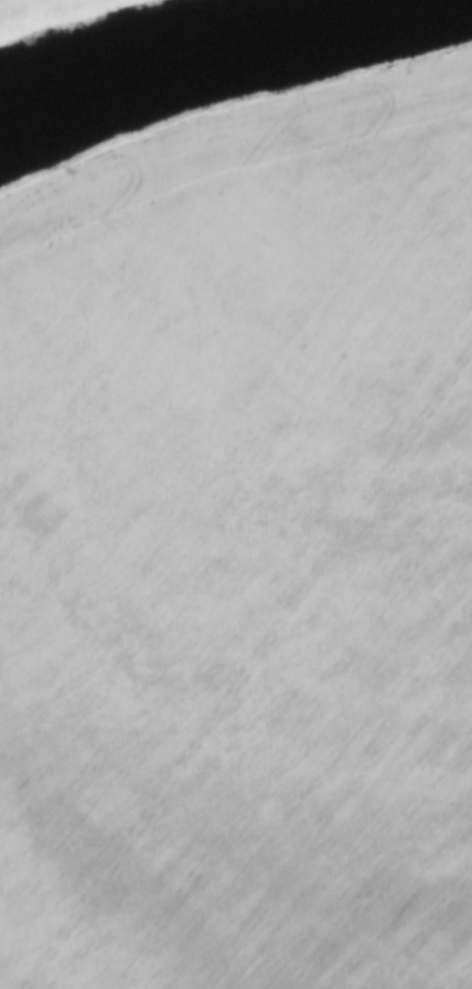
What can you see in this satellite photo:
river: (211, 46)

